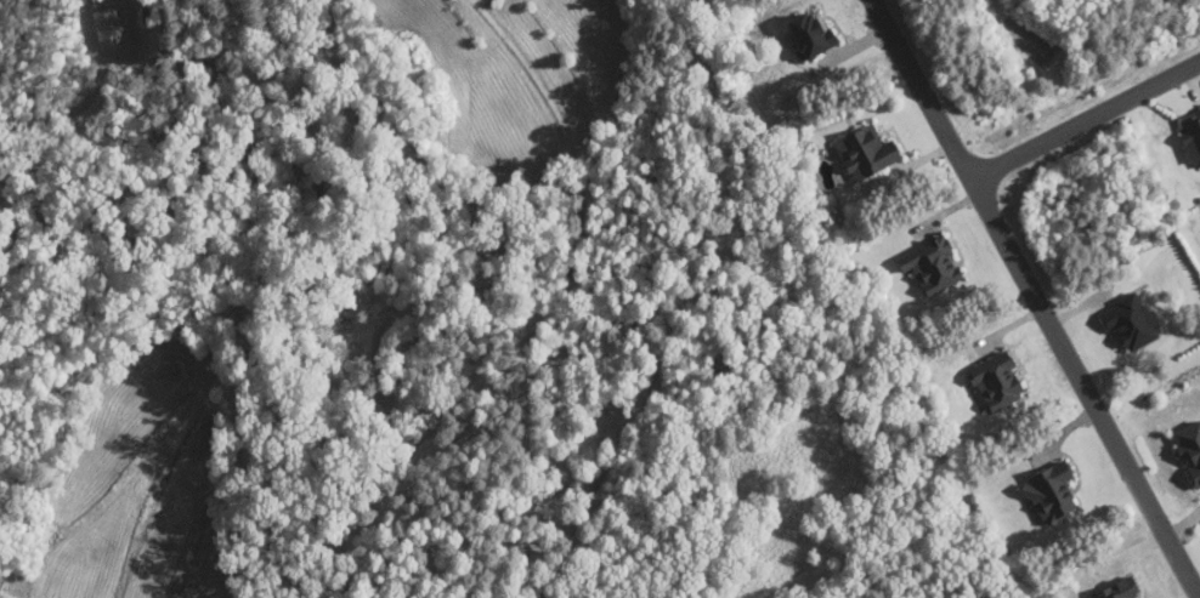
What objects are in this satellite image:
building: (811, 35)
road: (1086, 120)
building: (1191, 138)
building: (867, 155)
road: (1038, 297)

